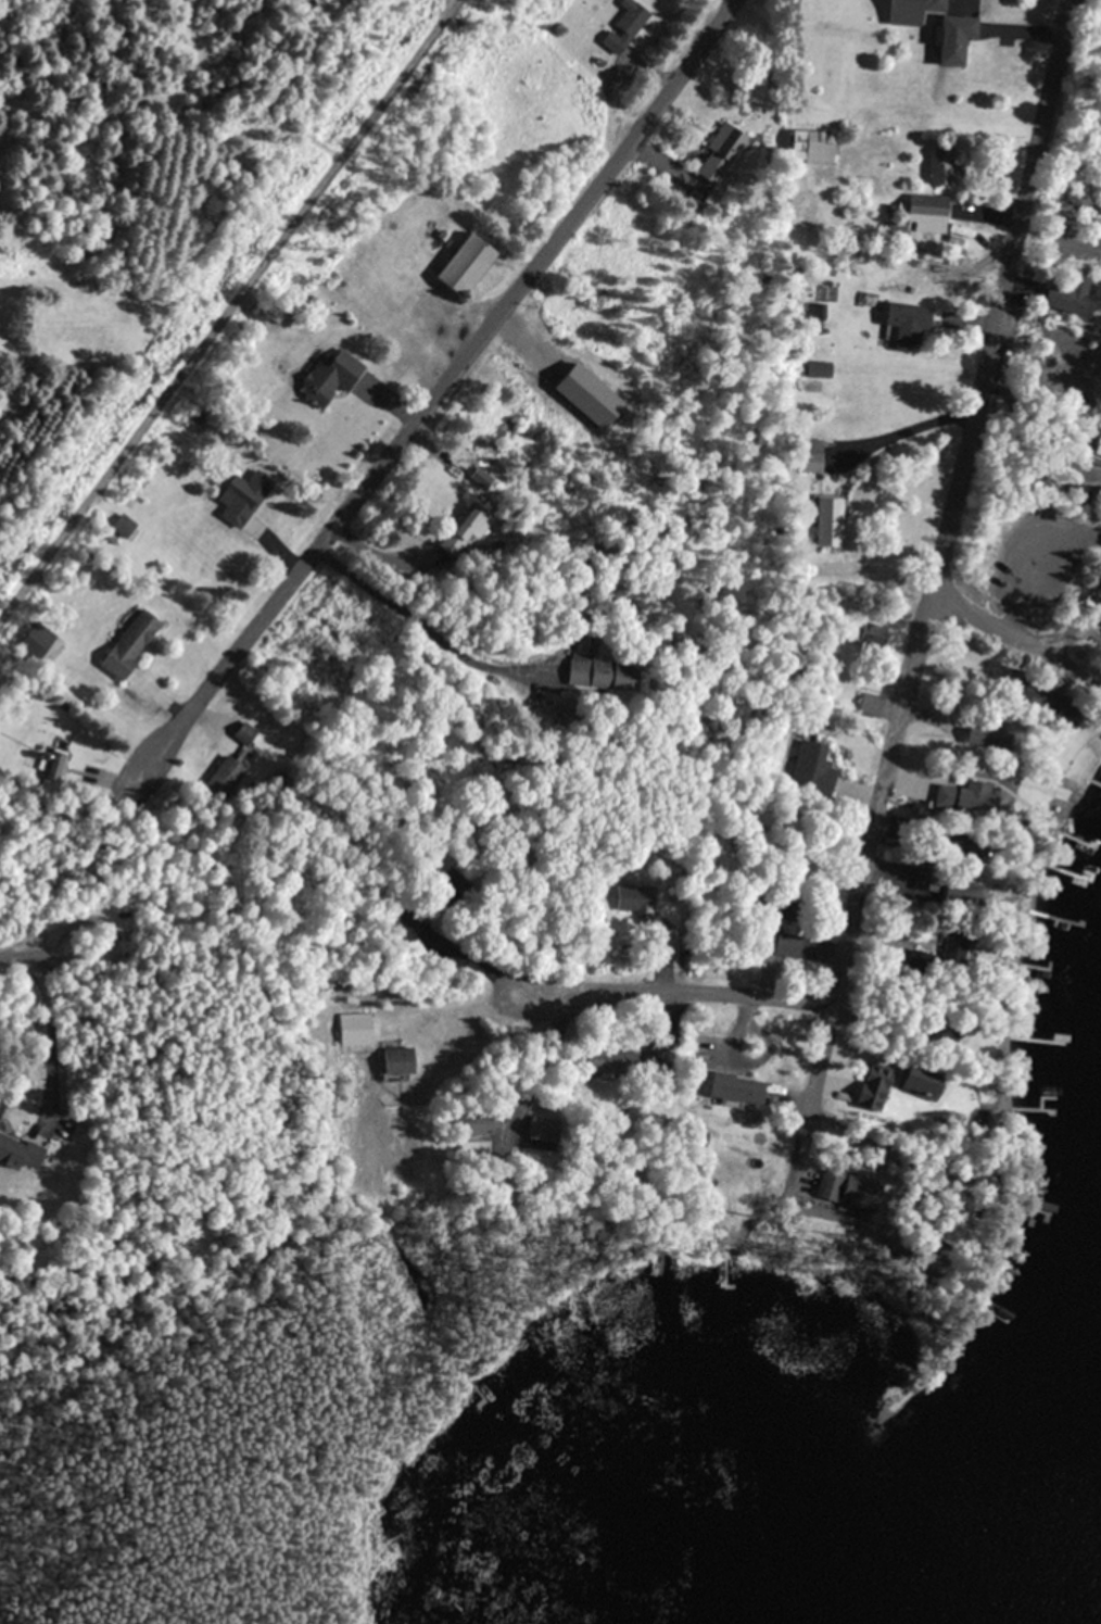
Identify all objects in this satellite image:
building: (940, 5)
building: (629, 26)
building: (963, 38)
building: (817, 147)
building: (945, 168)
building: (924, 216)
building: (473, 265)
road: (1001, 298)
road: (225, 303)
building: (910, 323)
road: (445, 381)
building: (244, 494)
building: (839, 523)
building: (478, 526)
road: (1016, 608)
building: (135, 643)
road: (1043, 647)
building: (610, 671)
building: (875, 703)
building: (248, 734)
building: (988, 737)
building: (818, 766)
building: (231, 772)
road: (878, 793)
building: (940, 811)
building: (885, 872)
building: (640, 901)
building: (794, 943)
building: (960, 945)
road: (671, 992)
building: (363, 1030)
building: (404, 1059)
building: (617, 1060)
building: (890, 1079)
building: (931, 1079)
building: (742, 1090)
building: (547, 1129)
building: (21, 1151)

